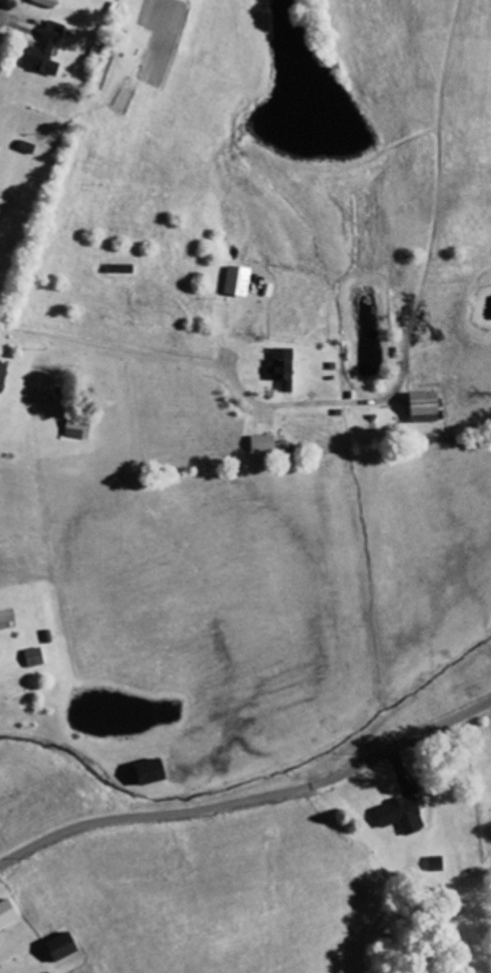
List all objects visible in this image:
road: (0, 1)
building: (49, 3)
building: (47, 51)
building: (241, 282)
road: (120, 362)
building: (285, 369)
building: (4, 376)
building: (428, 408)
building: (81, 431)
building: (266, 444)
building: (37, 658)
building: (154, 773)
road: (250, 799)
building: (405, 816)
building: (439, 866)
building: (8, 915)
building: (65, 948)

